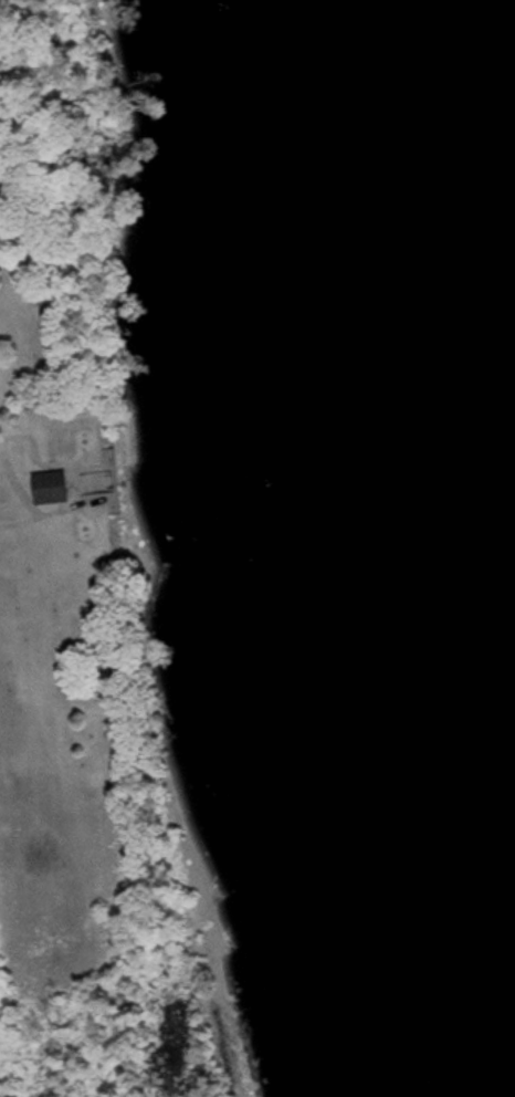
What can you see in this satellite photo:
road: (78, 411)
road: (0, 435)
road: (74, 479)
road: (15, 481)
building: (51, 488)
park: (130, 596)

